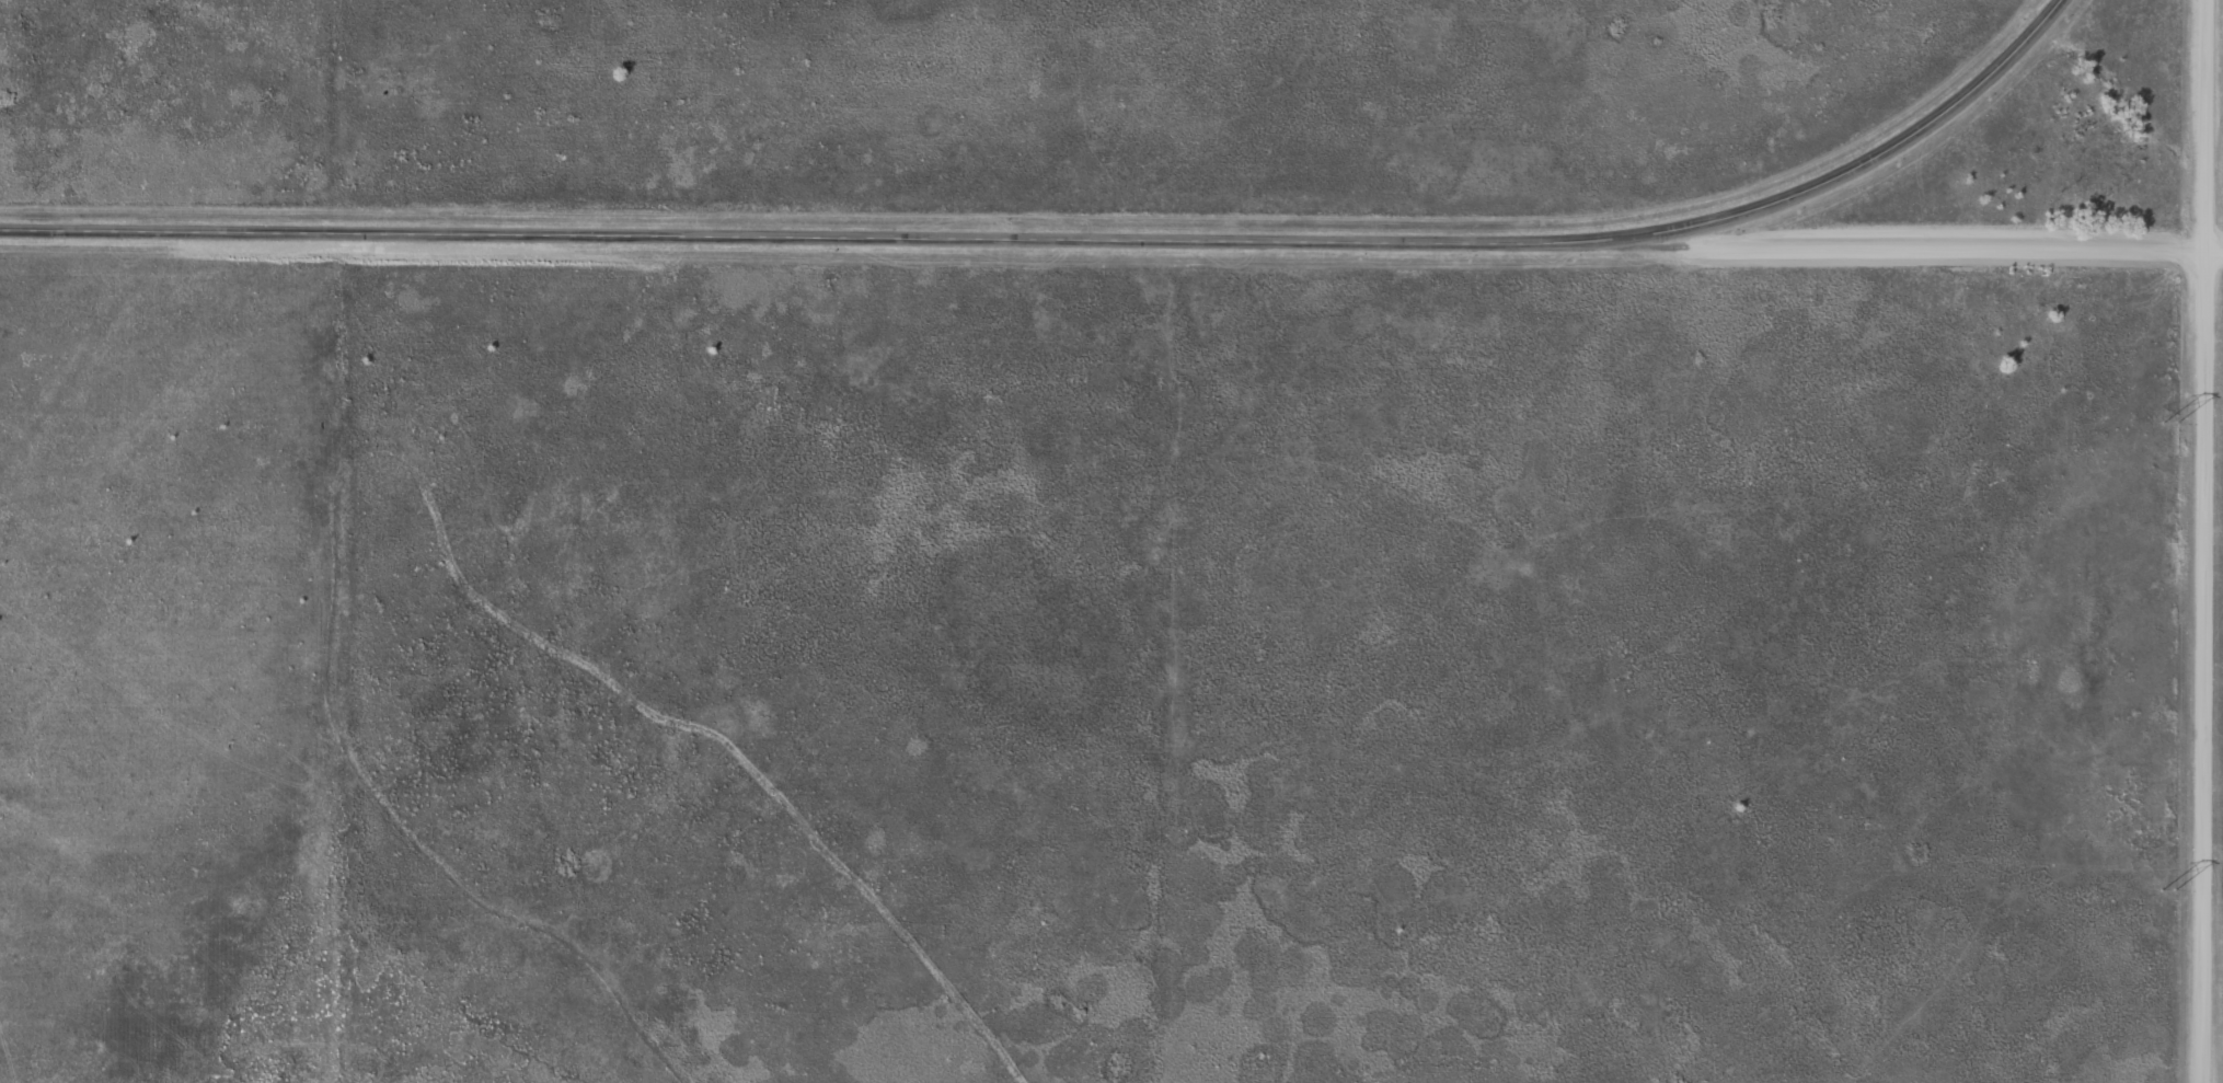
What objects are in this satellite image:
road: (1919, 233)
road: (1064, 239)
power tower: (2166, 424)
power tower: (2164, 891)

